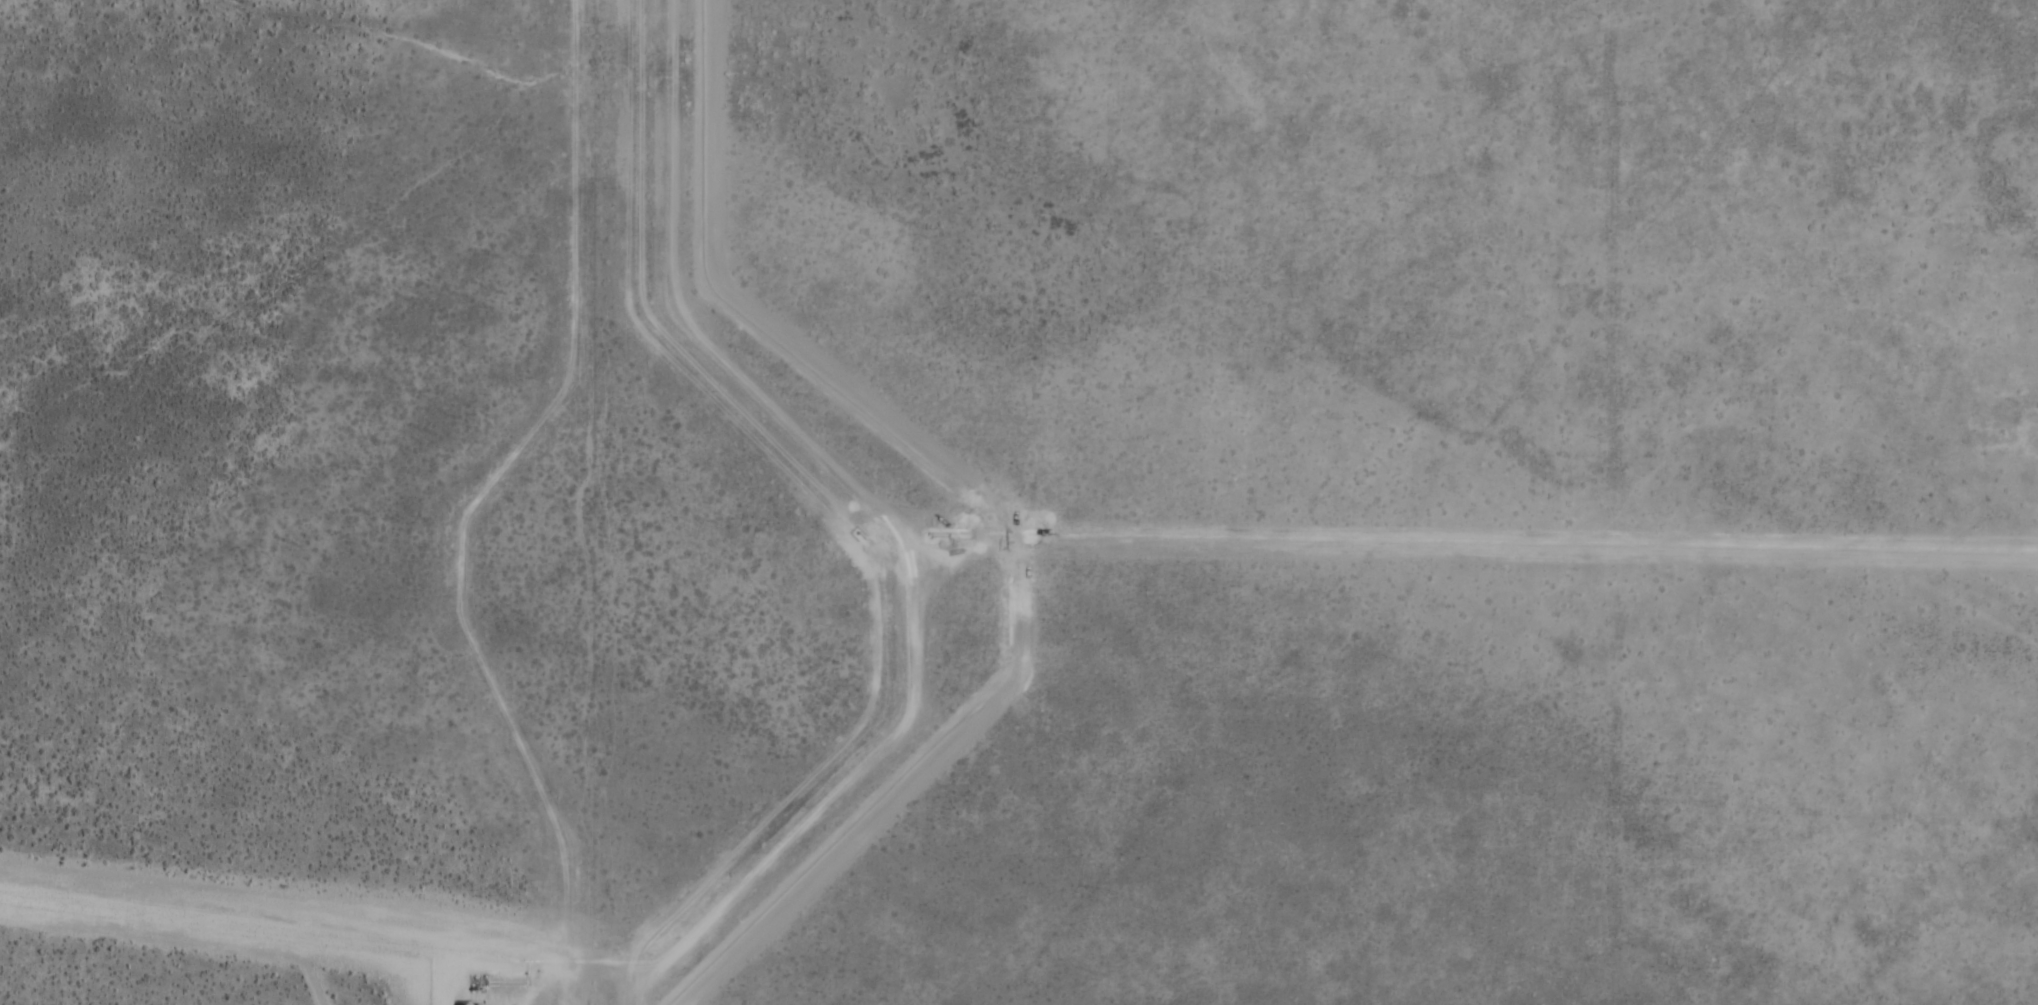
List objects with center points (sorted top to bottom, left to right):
road: (282, 918)

